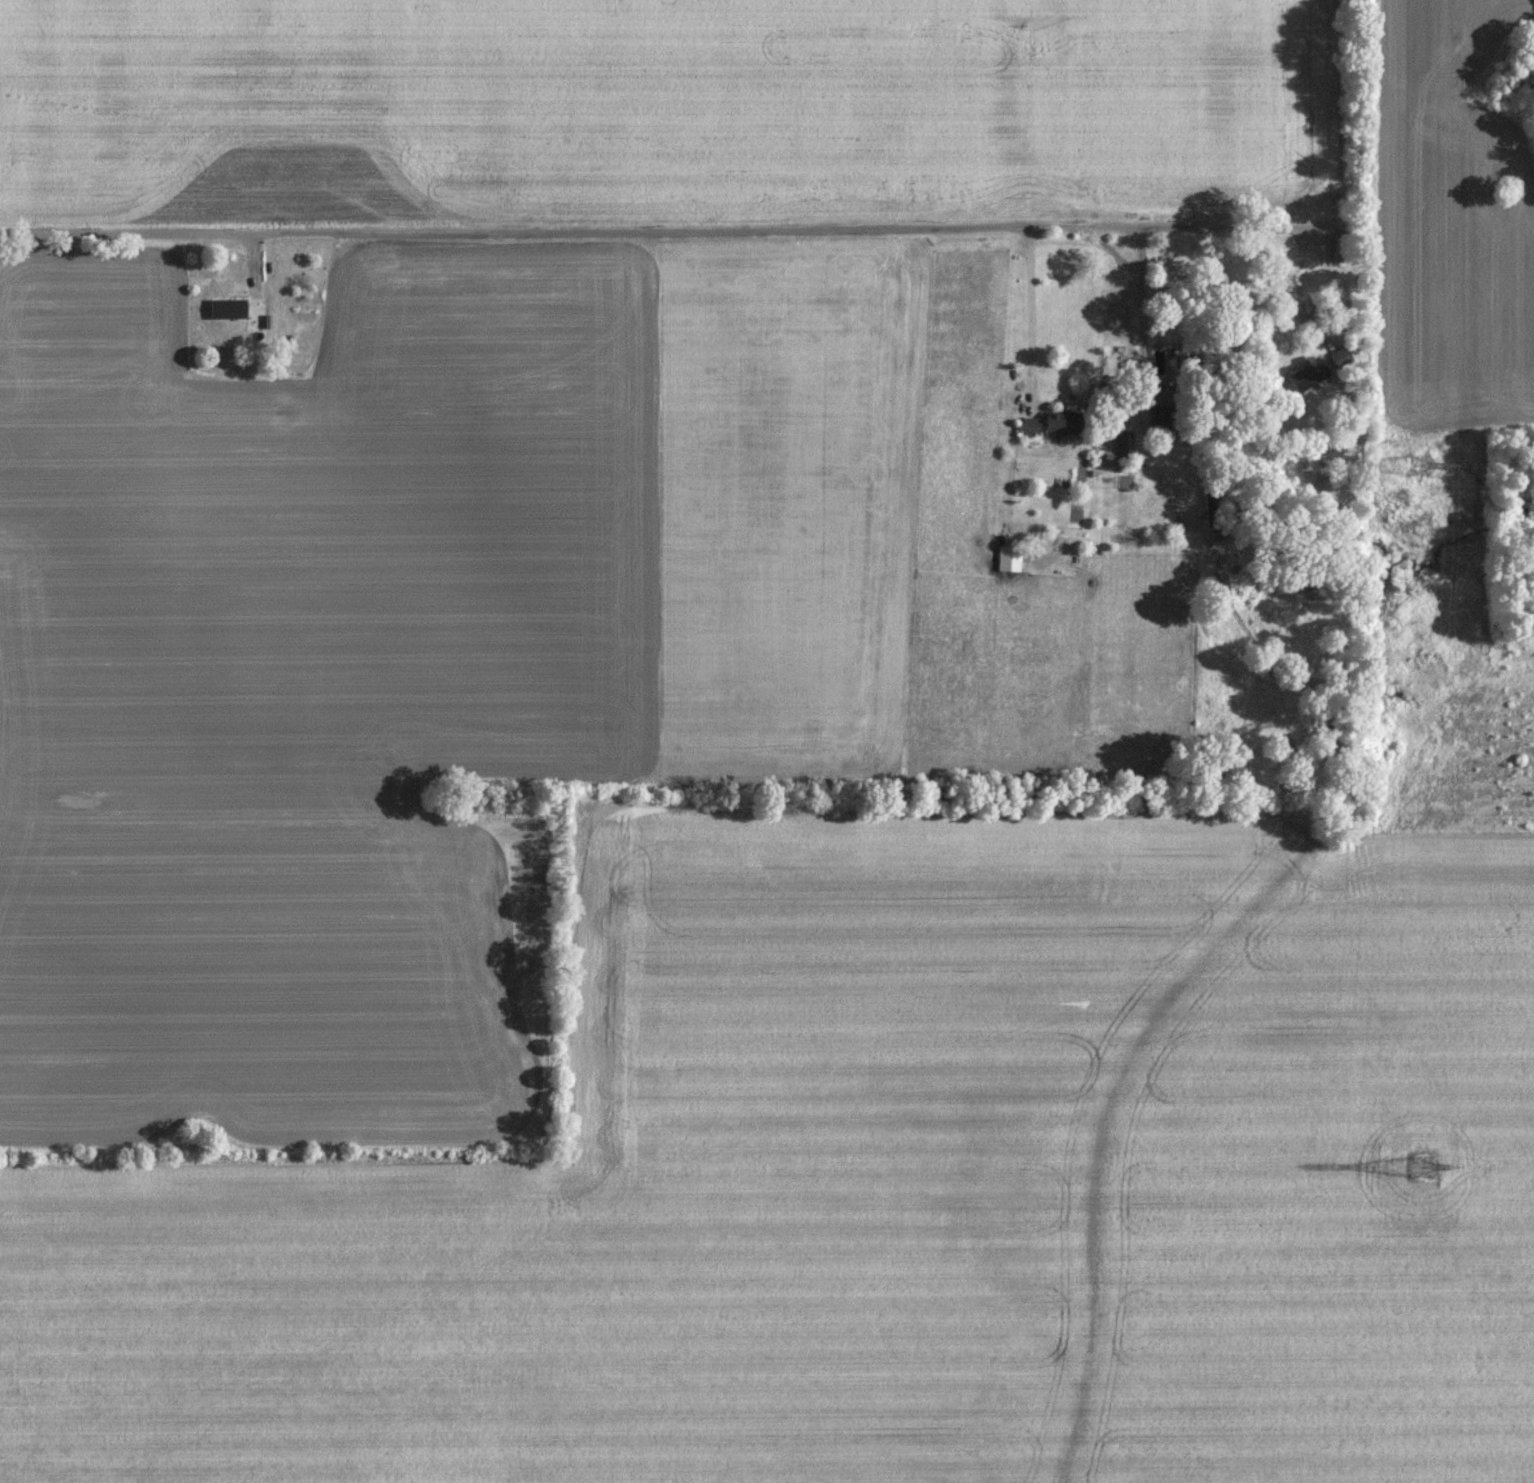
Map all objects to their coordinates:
road: (566, 228)
road: (1284, 229)
road: (1144, 305)
building: (226, 307)
road: (1033, 307)
building: (1305, 373)
building: (1156, 414)
building: (1060, 422)
building: (1029, 425)
building: (1124, 441)
power tower: (1419, 464)
building: (1008, 558)
power tower: (1420, 1167)

